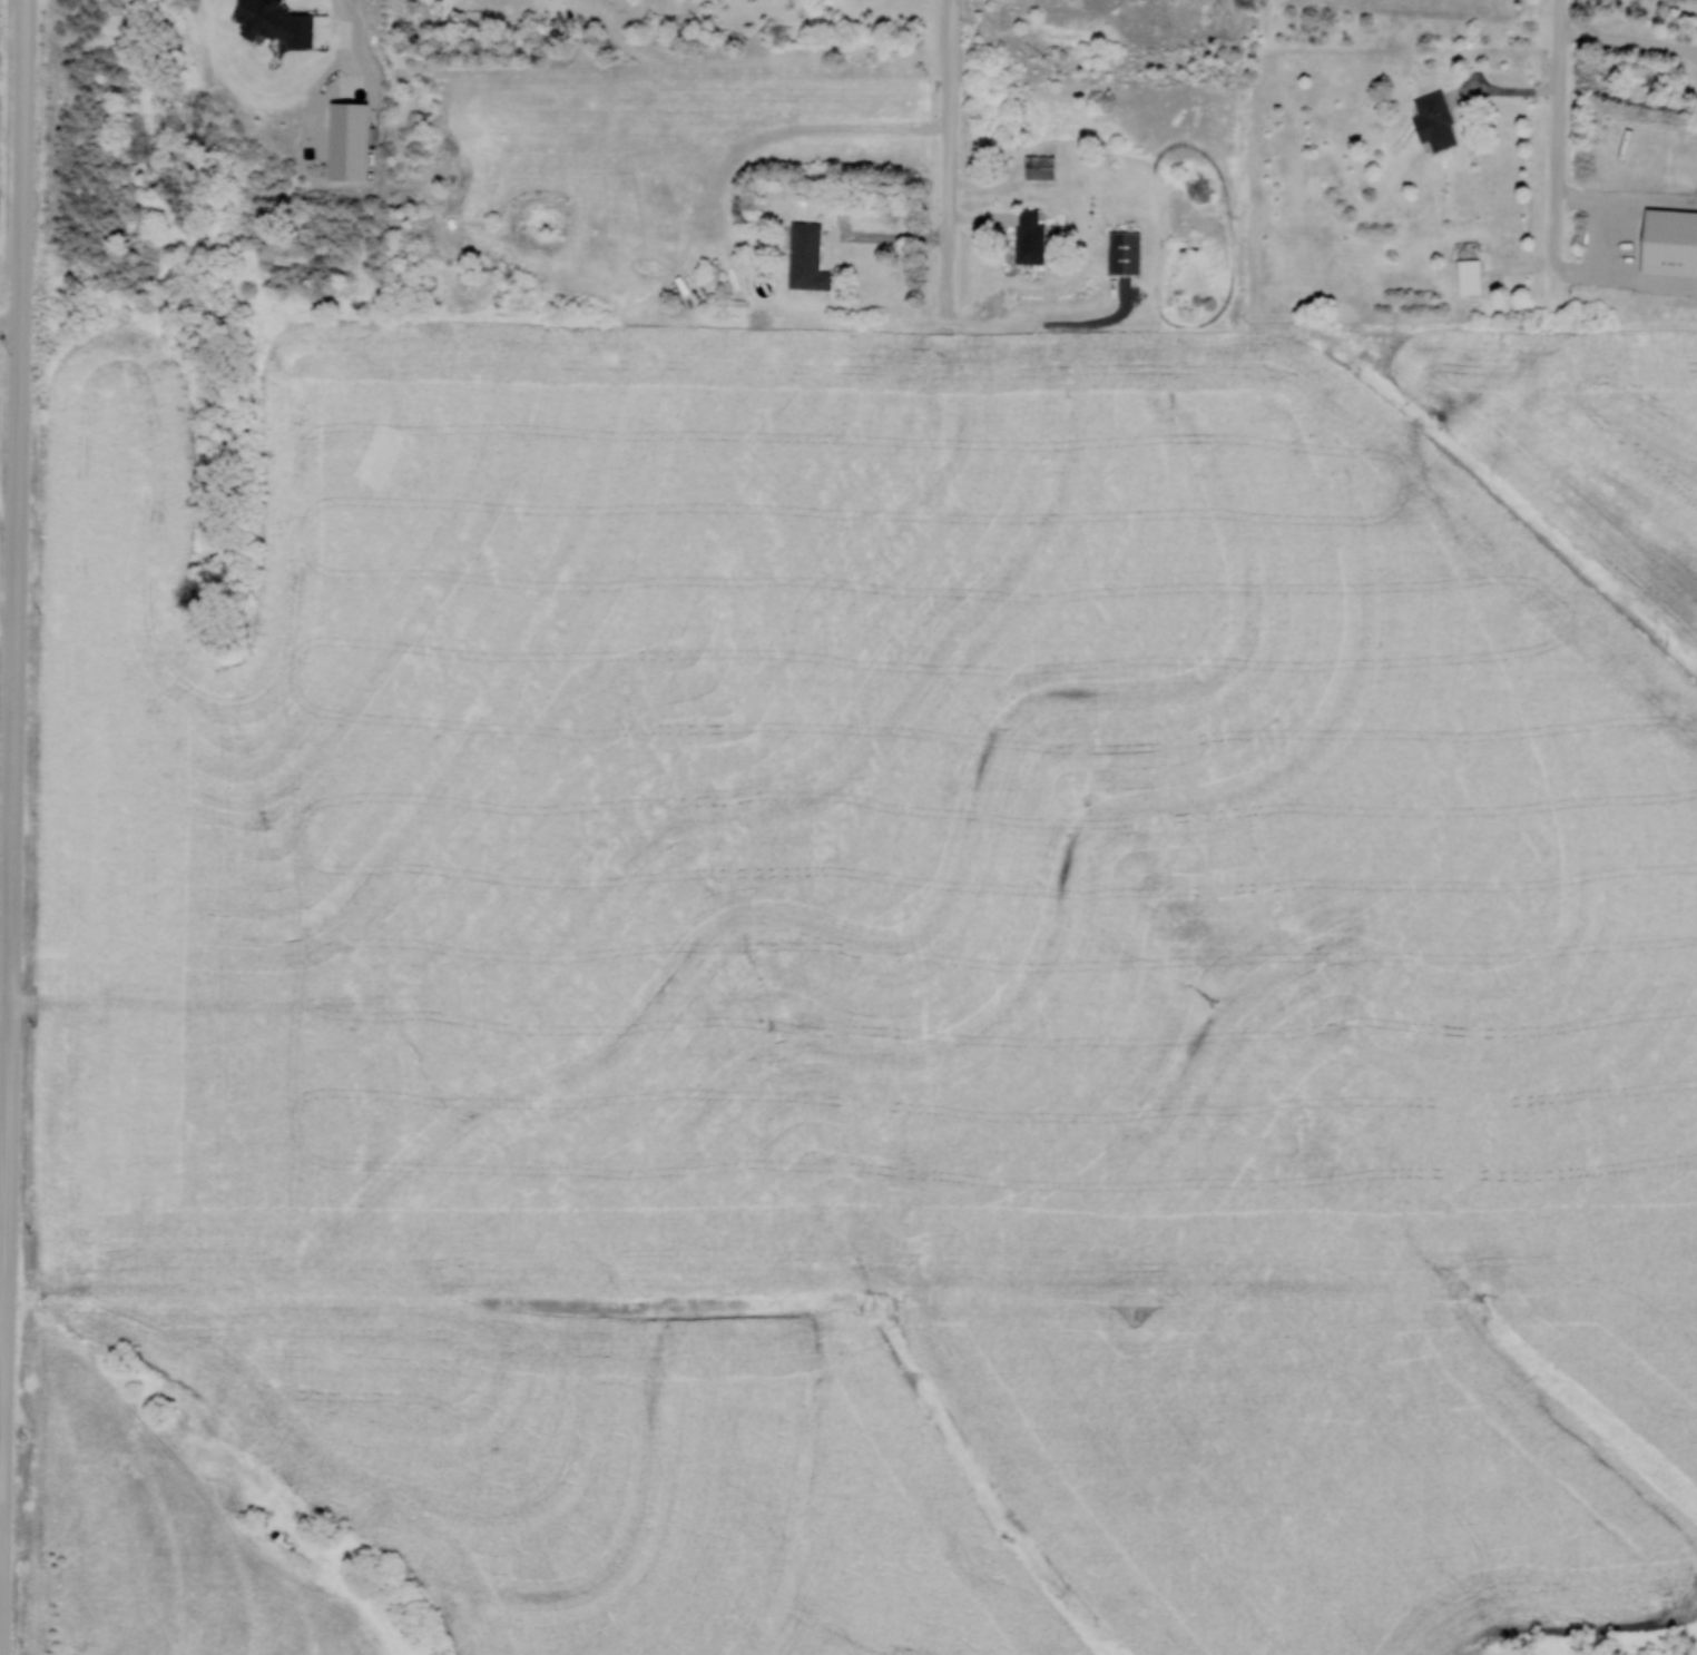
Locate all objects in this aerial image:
building: (1434, 120)
road: (951, 151)
road: (1557, 154)
road: (21, 160)
building: (1039, 166)
building: (992, 168)
building: (1029, 235)
building: (1124, 252)
building: (806, 257)
building: (1468, 267)
building: (735, 306)
road: (9, 319)
road: (11, 806)
road: (2, 1438)

